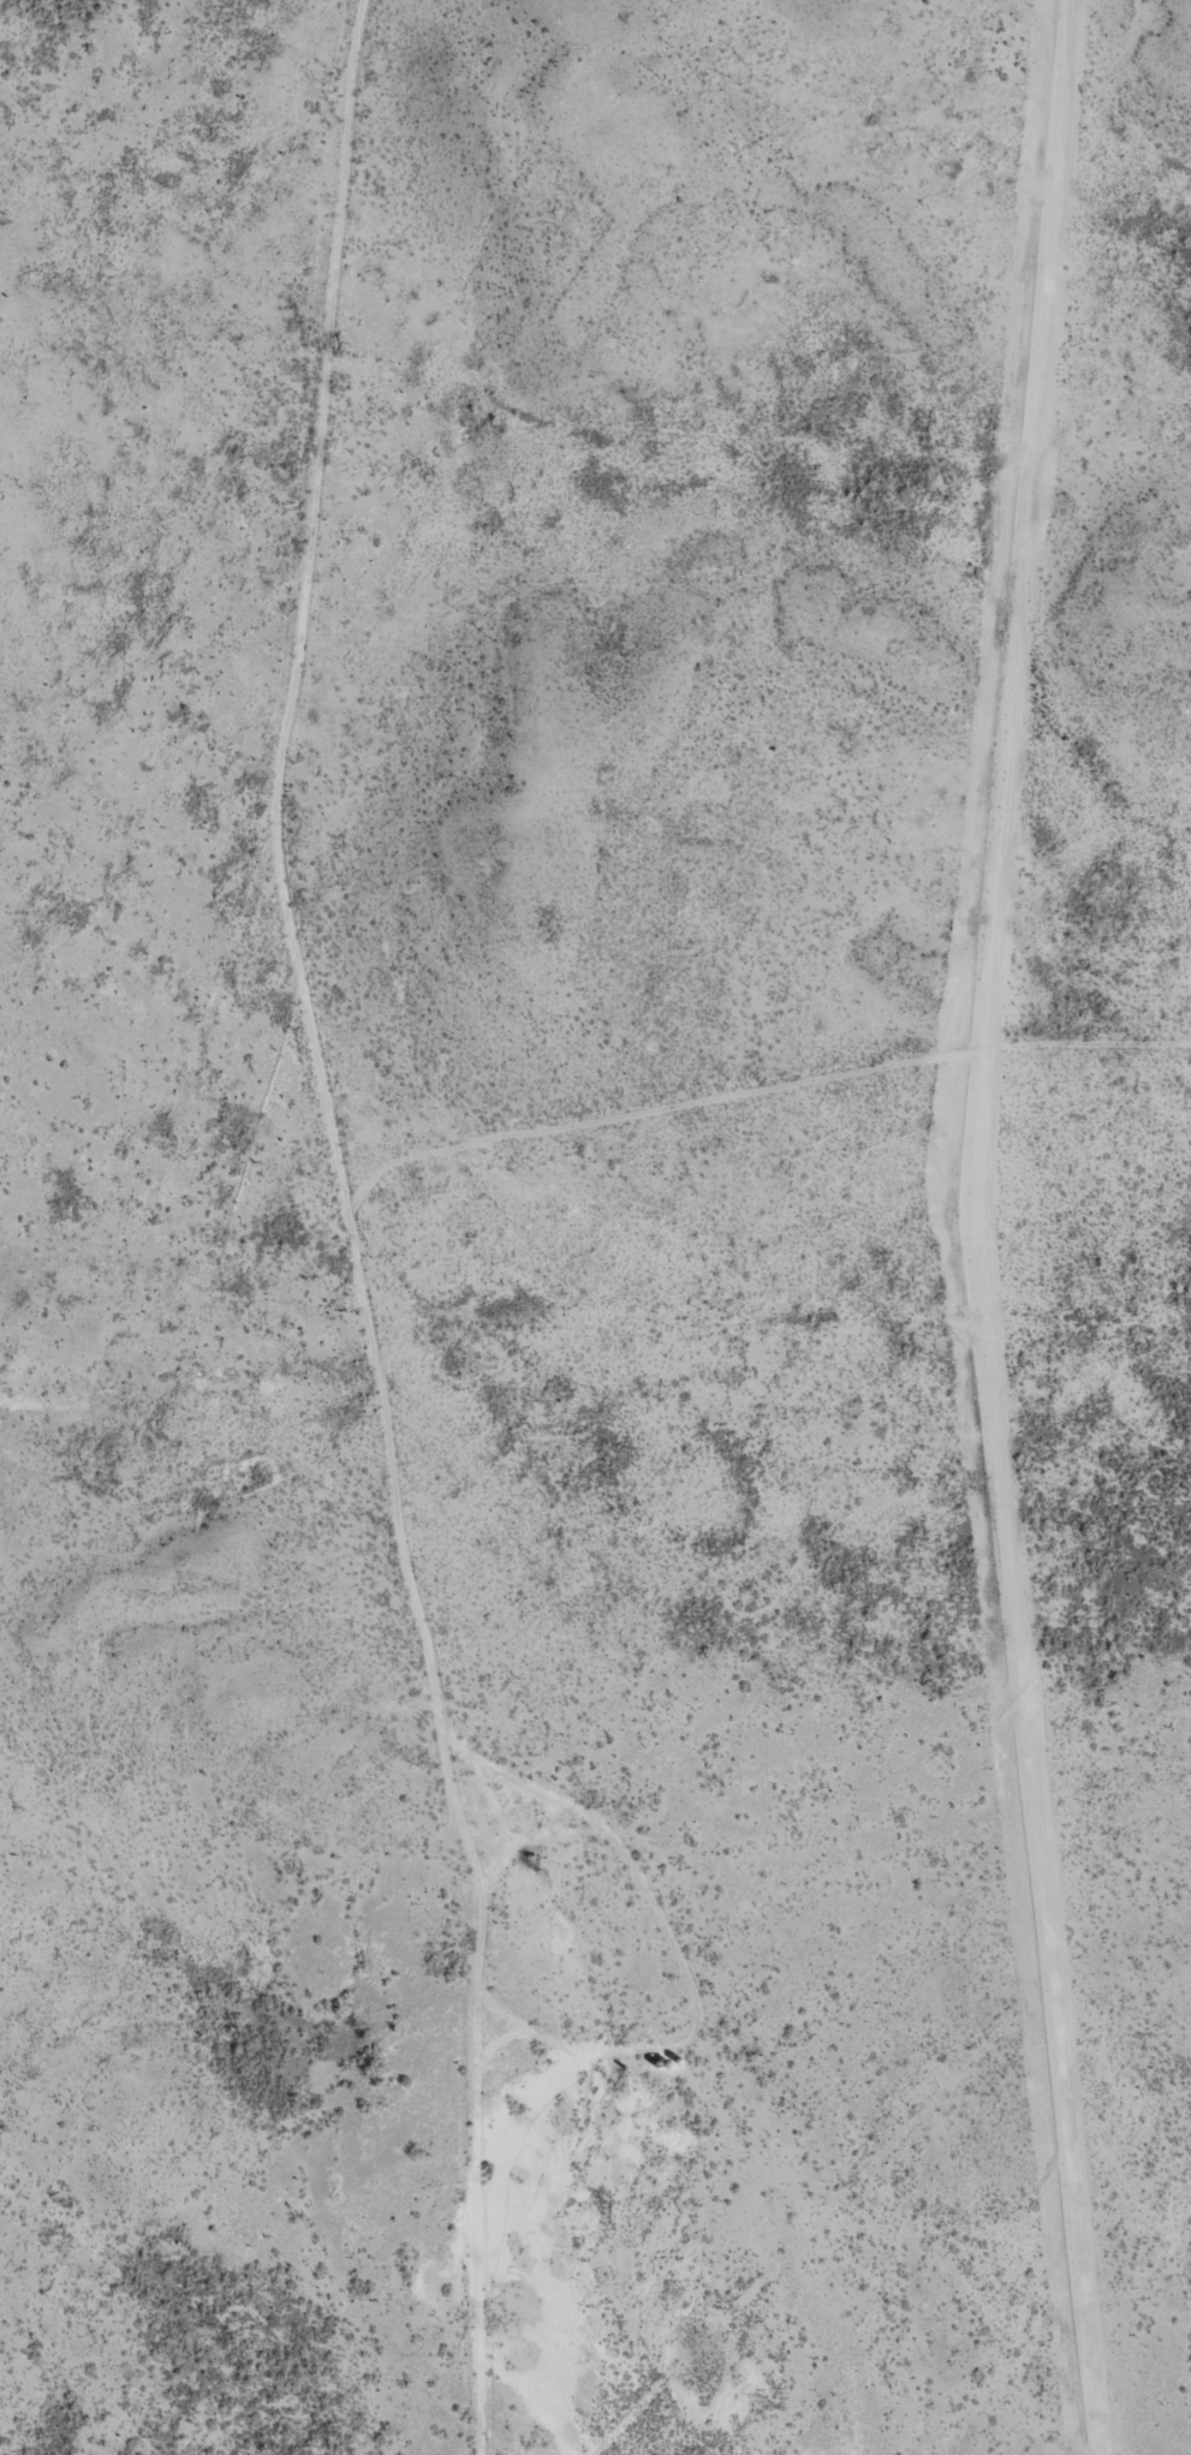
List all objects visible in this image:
road: (745, 1029)
road: (333, 1239)
road: (666, 1929)

